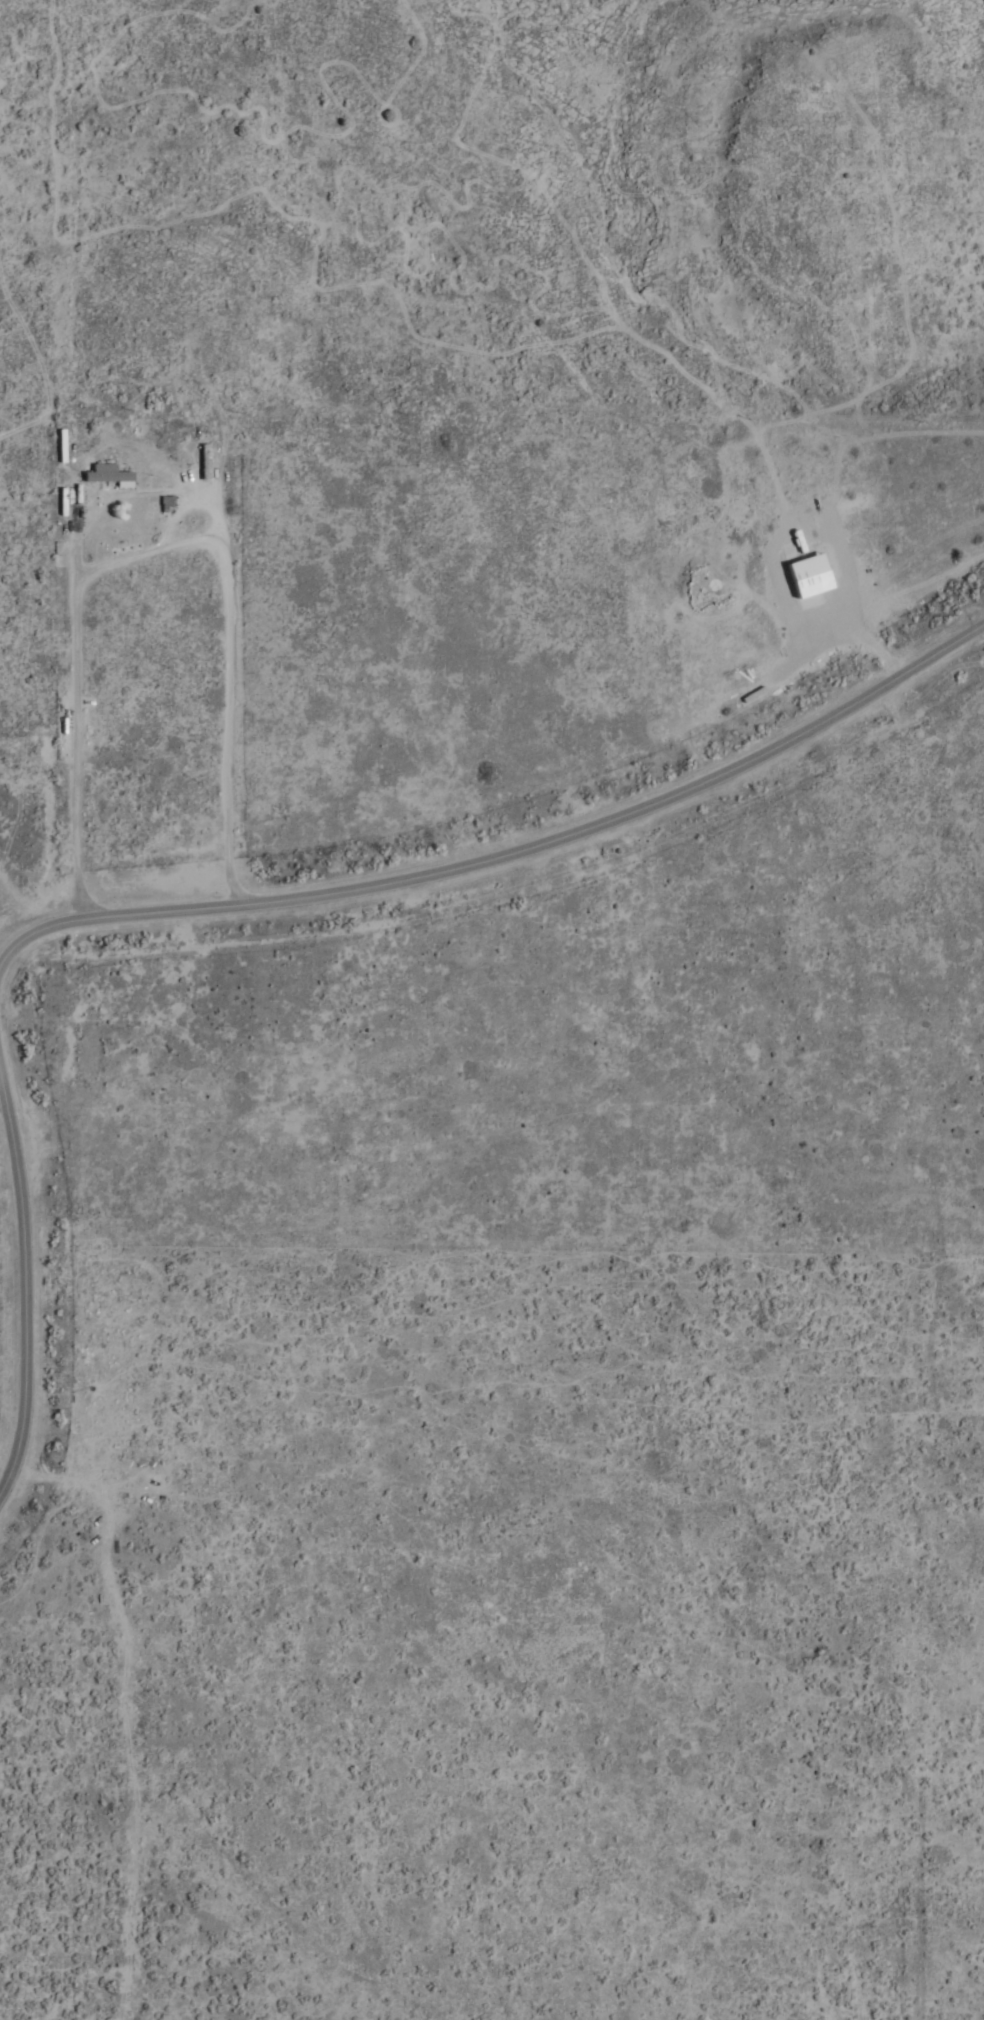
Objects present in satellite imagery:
building: (108, 475)
road: (509, 854)
road: (3, 1108)
road: (23, 1289)

